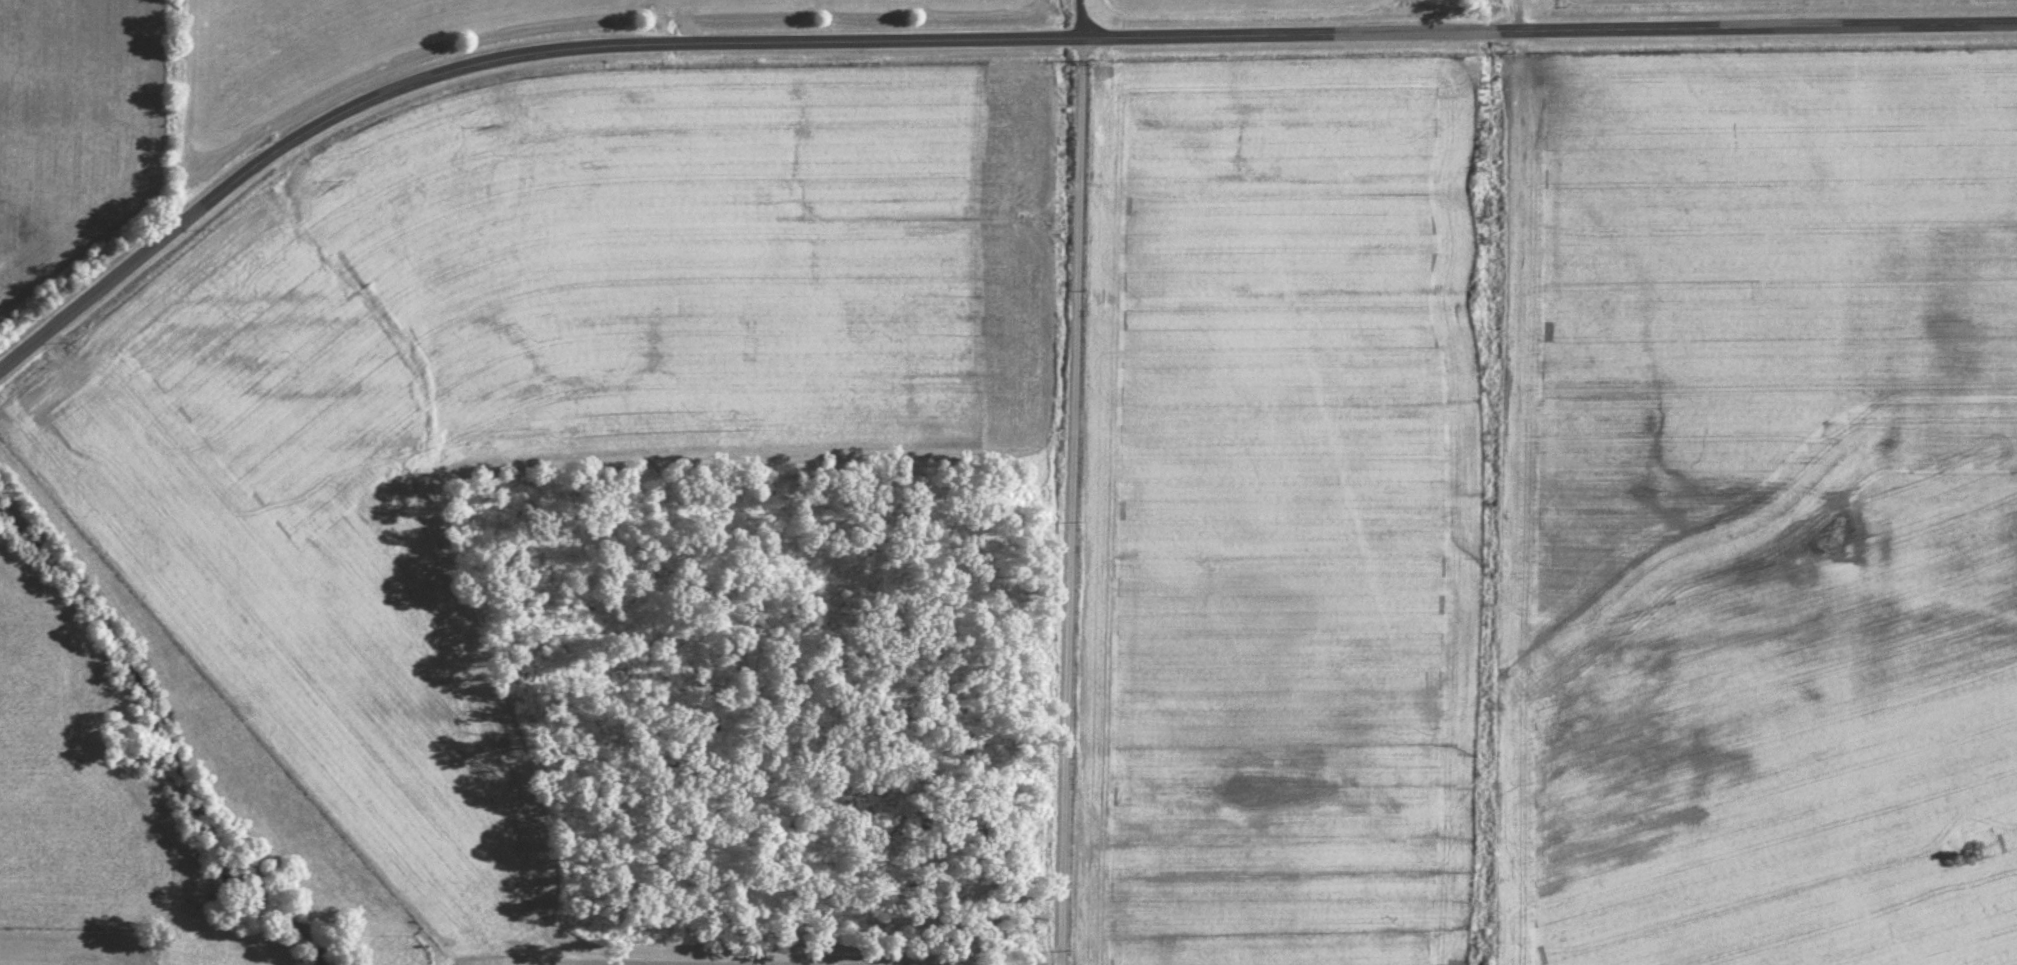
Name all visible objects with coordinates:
road: (960, 36)
road: (1073, 482)

